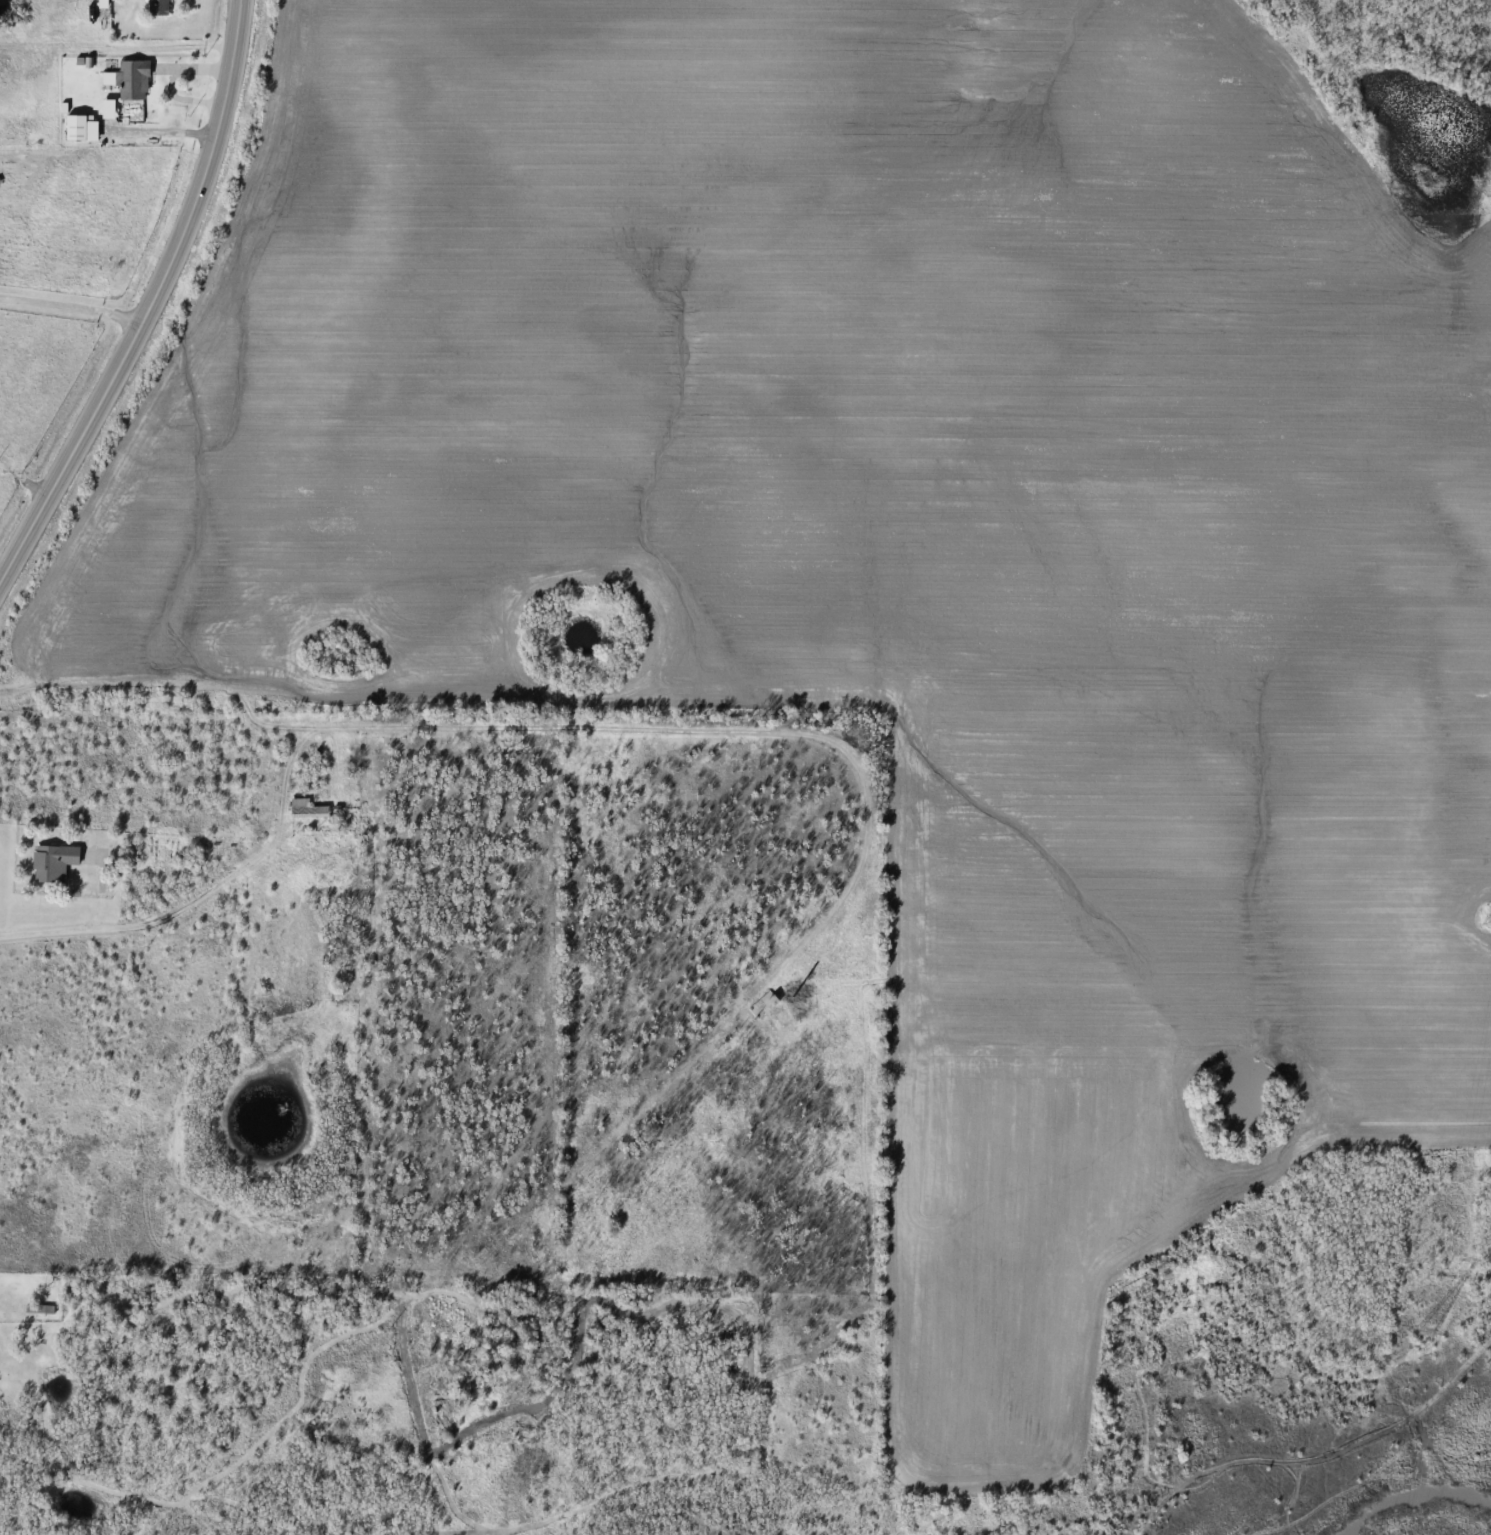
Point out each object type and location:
building: (102, 3)
building: (157, 7)
building: (130, 80)
building: (75, 128)
road: (153, 302)
building: (307, 807)
building: (52, 863)
building: (39, 1308)

